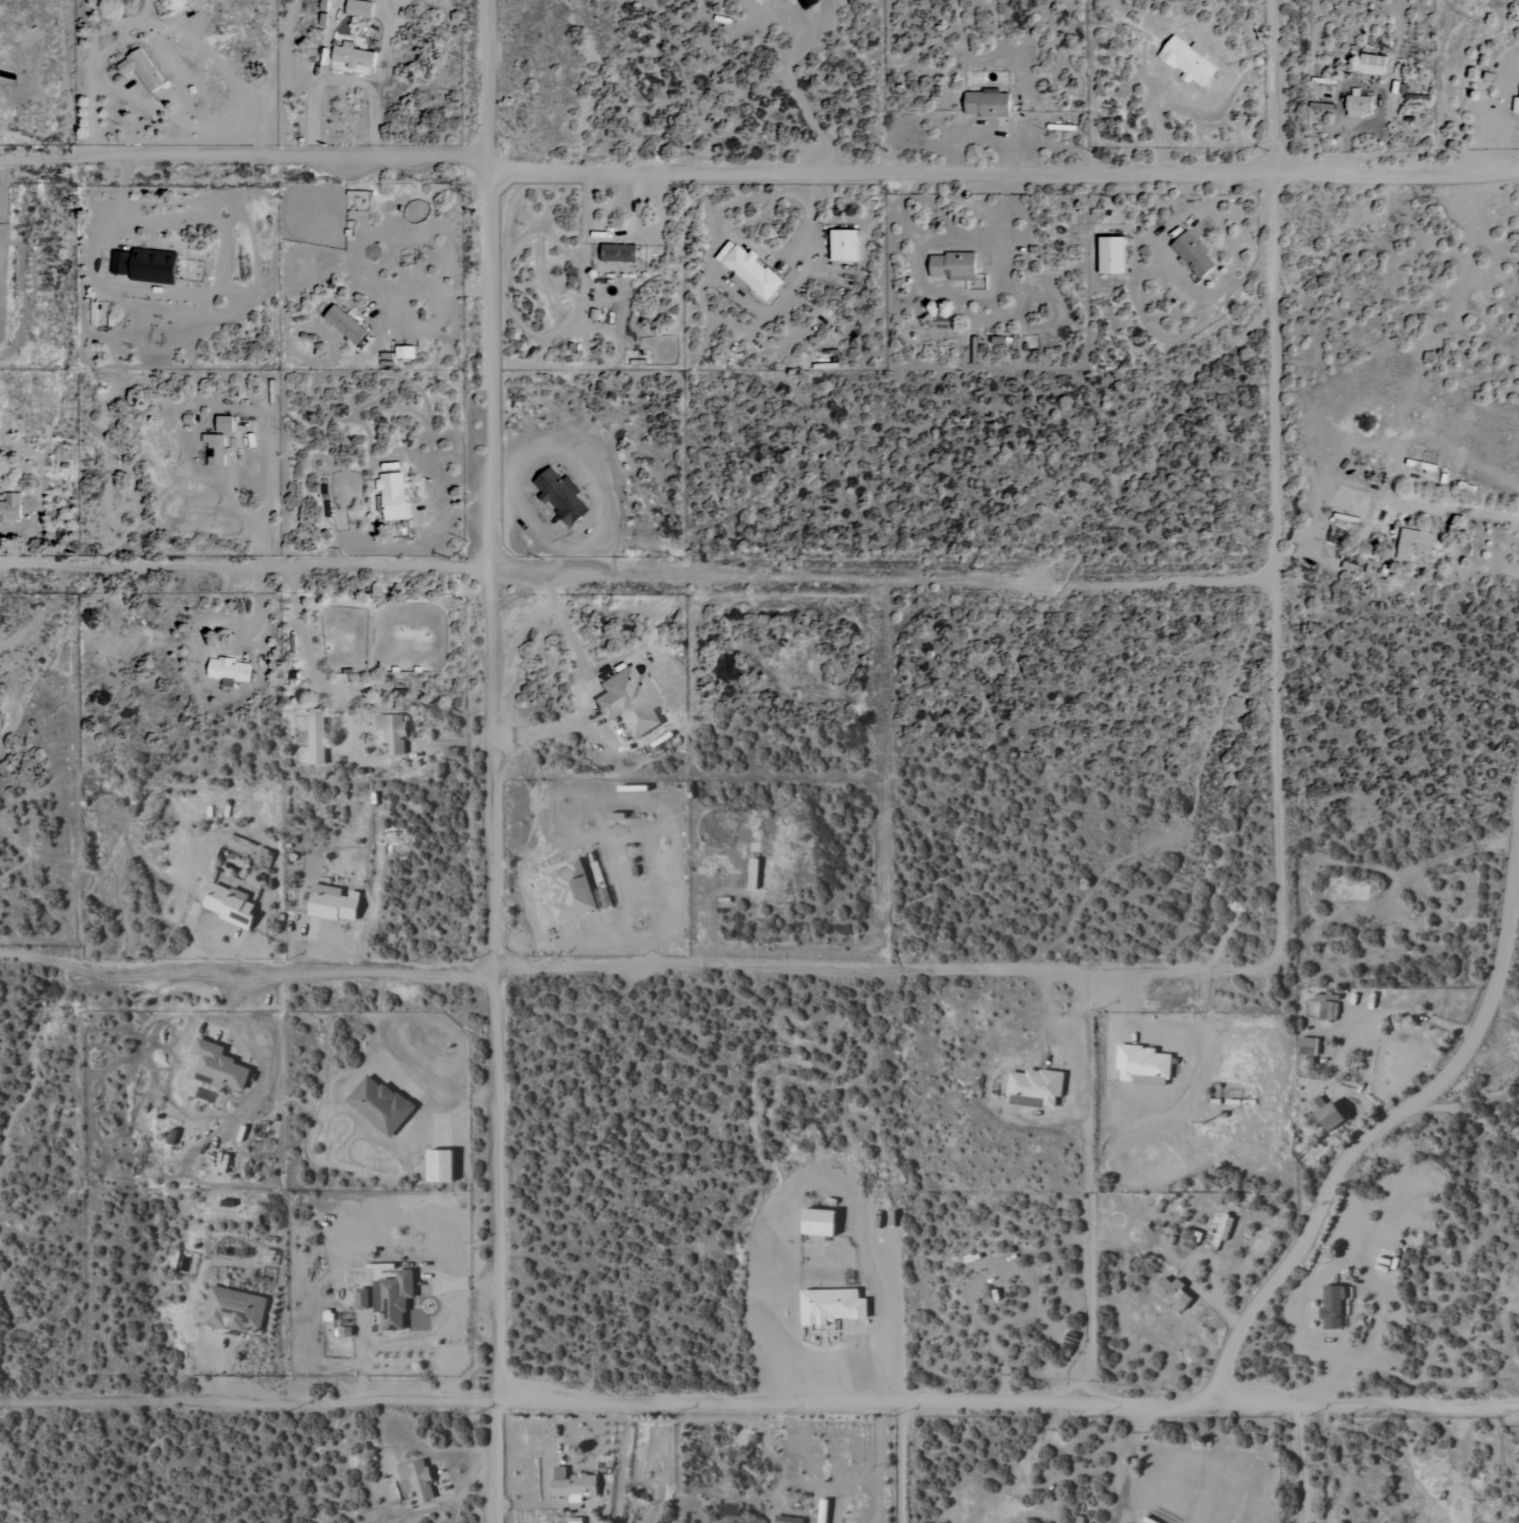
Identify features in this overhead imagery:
building: (807, 3)
building: (357, 8)
building: (350, 56)
building: (1185, 60)
building: (1370, 64)
building: (138, 69)
road: (340, 80)
road: (801, 94)
building: (1356, 104)
building: (1515, 105)
road: (212, 127)
road: (1344, 149)
road: (758, 171)
building: (840, 246)
building: (616, 253)
building: (1192, 254)
building: (1108, 256)
building: (144, 265)
building: (950, 265)
building: (750, 272)
road: (427, 292)
building: (342, 325)
building: (403, 353)
building: (222, 424)
building: (213, 449)
road: (1272, 484)
building: (558, 496)
building: (390, 497)
building: (12, 506)
road: (1461, 507)
road: (247, 513)
building: (1414, 544)
road: (244, 566)
road: (880, 582)
road: (307, 656)
building: (227, 669)
road: (582, 691)
building: (629, 700)
building: (315, 736)
road: (491, 761)
building: (568, 891)
building: (329, 903)
building: (227, 905)
road: (632, 969)
road: (1504, 1006)
road: (1051, 1012)
road: (1345, 1046)
building: (1140, 1065)
building: (216, 1067)
building: (1033, 1088)
building: (378, 1104)
building: (1324, 1115)
building: (438, 1166)
road: (1339, 1172)
road: (1090, 1187)
building: (816, 1223)
building: (1171, 1293)
building: (391, 1300)
building: (830, 1306)
building: (1330, 1307)
building: (232, 1310)
road: (219, 1369)
road: (759, 1399)
road: (900, 1462)
road: (1133, 1464)
road: (1301, 1464)
building: (571, 1485)
building: (1079, 1520)

